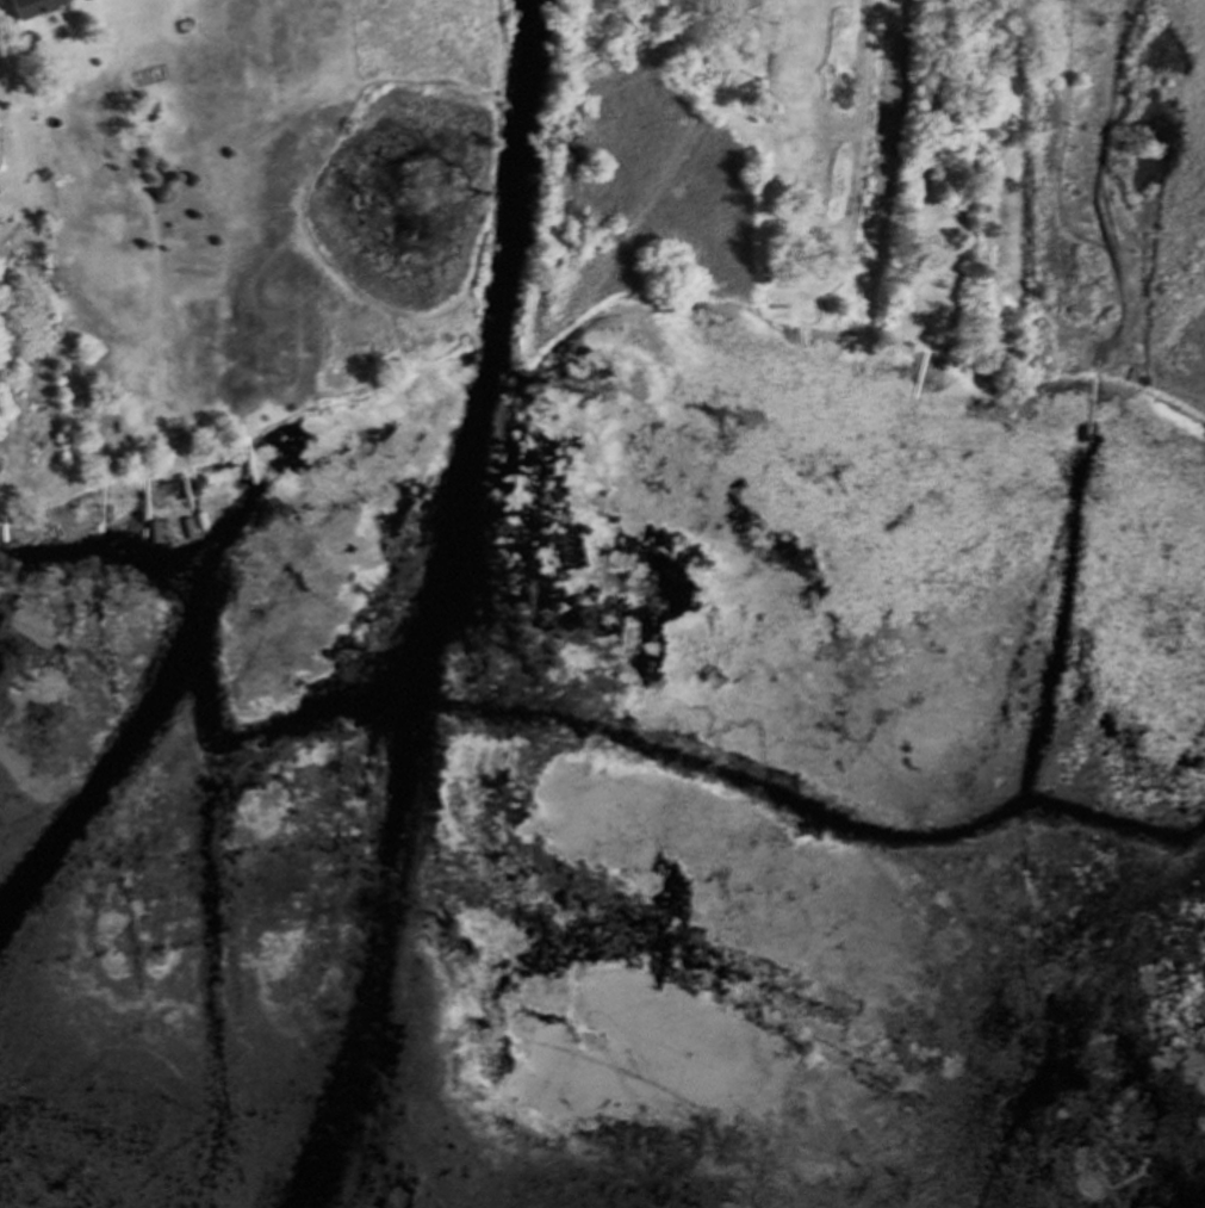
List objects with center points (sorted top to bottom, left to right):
building: (36, 8)
road: (766, 30)

